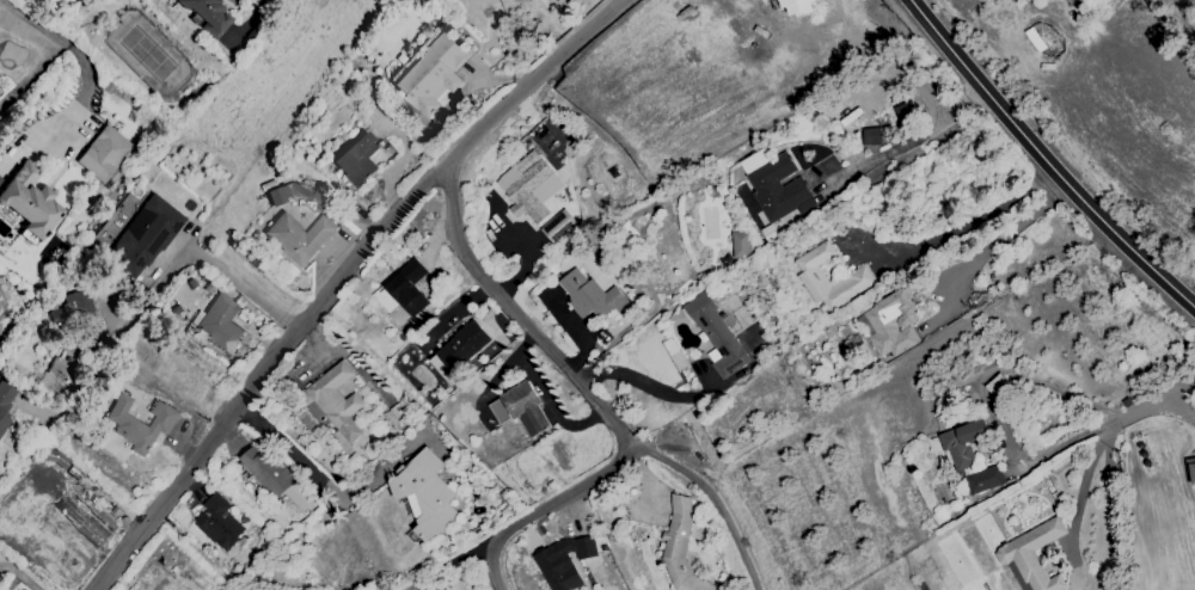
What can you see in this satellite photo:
building: (209, 17)
road: (247, 23)
road: (61, 42)
building: (436, 70)
road: (30, 74)
building: (872, 136)
road: (911, 139)
building: (105, 155)
road: (1046, 159)
building: (360, 161)
building: (780, 188)
building: (531, 191)
building: (280, 197)
building: (32, 205)
road: (967, 227)
road: (1004, 234)
building: (146, 238)
building: (300, 239)
building: (742, 246)
building: (860, 275)
road: (339, 278)
road: (166, 281)
building: (411, 289)
building: (594, 297)
building: (79, 315)
building: (223, 325)
building: (895, 325)
building: (718, 334)
building: (466, 346)
building: (63, 370)
road: (646, 386)
road: (587, 389)
road: (982, 395)
building: (339, 402)
building: (6, 404)
building: (527, 410)
road: (1177, 410)
building: (142, 425)
road: (292, 453)
road: (1090, 457)
building: (972, 461)
building: (1191, 465)
building: (270, 473)
building: (429, 496)
road: (709, 498)
building: (221, 522)
building: (680, 547)
building: (1037, 557)
building: (565, 563)
road: (22, 579)
building: (447, 589)

